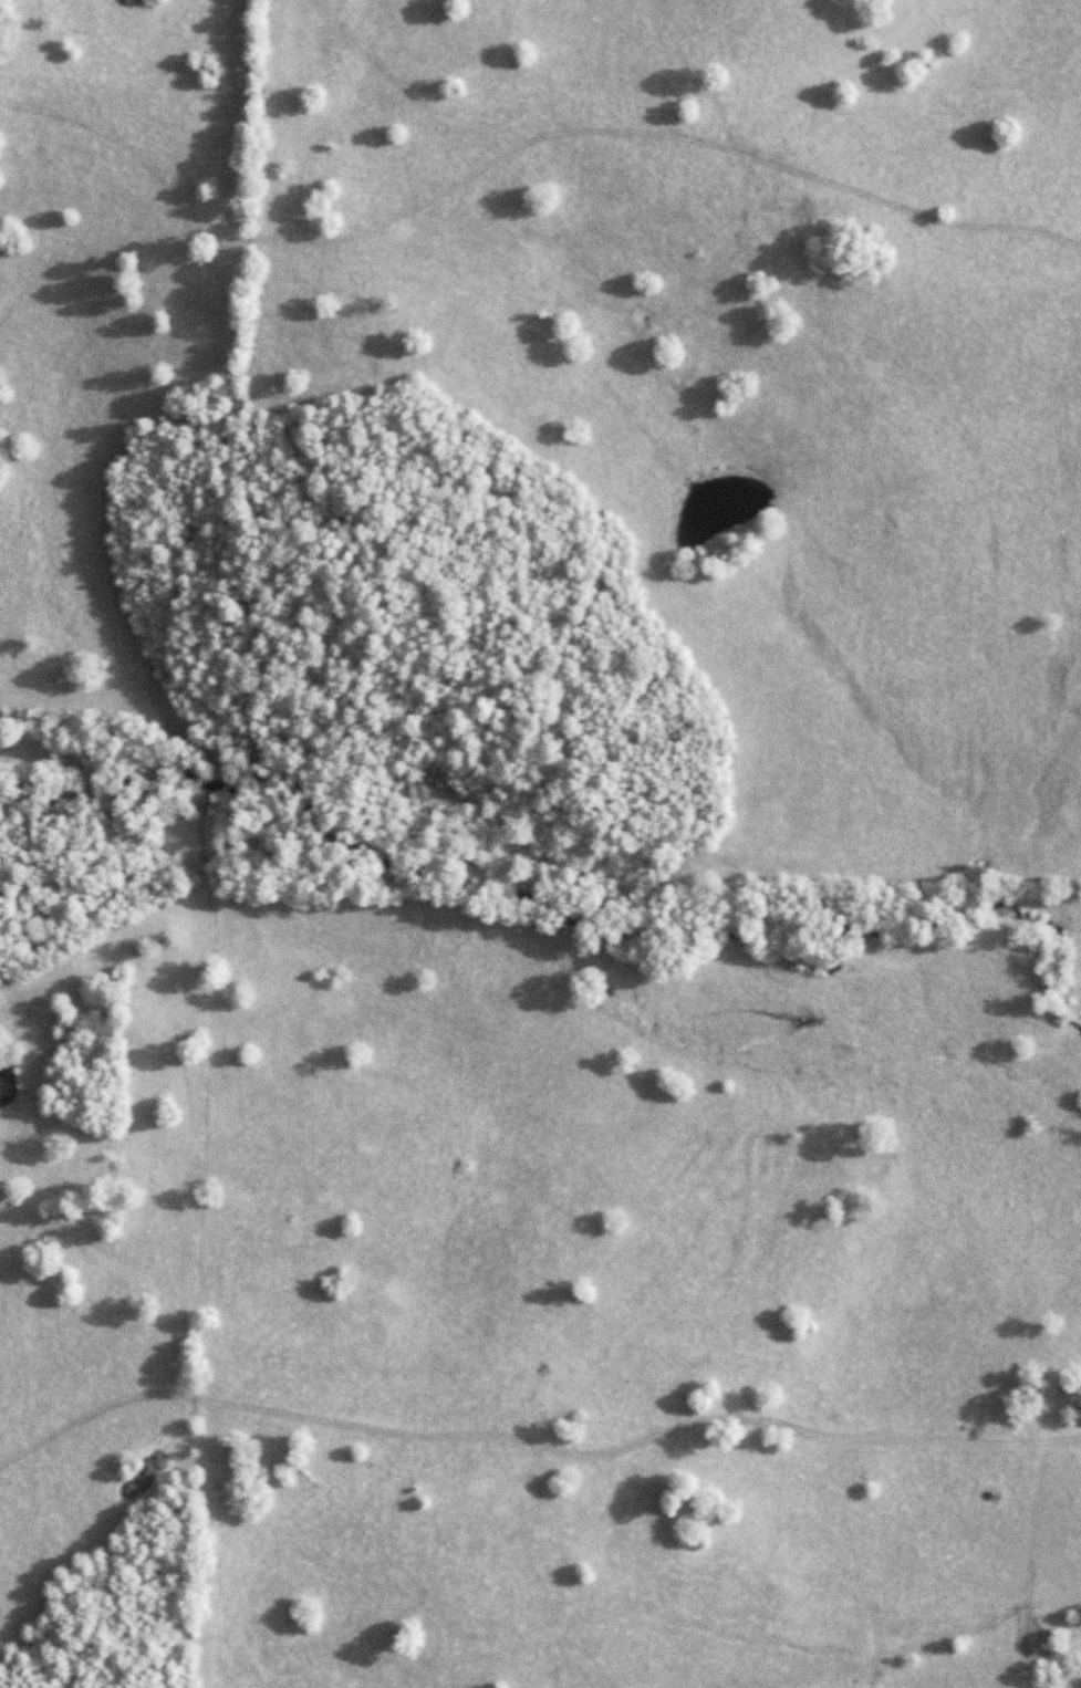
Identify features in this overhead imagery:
building: (1071, 1421)

